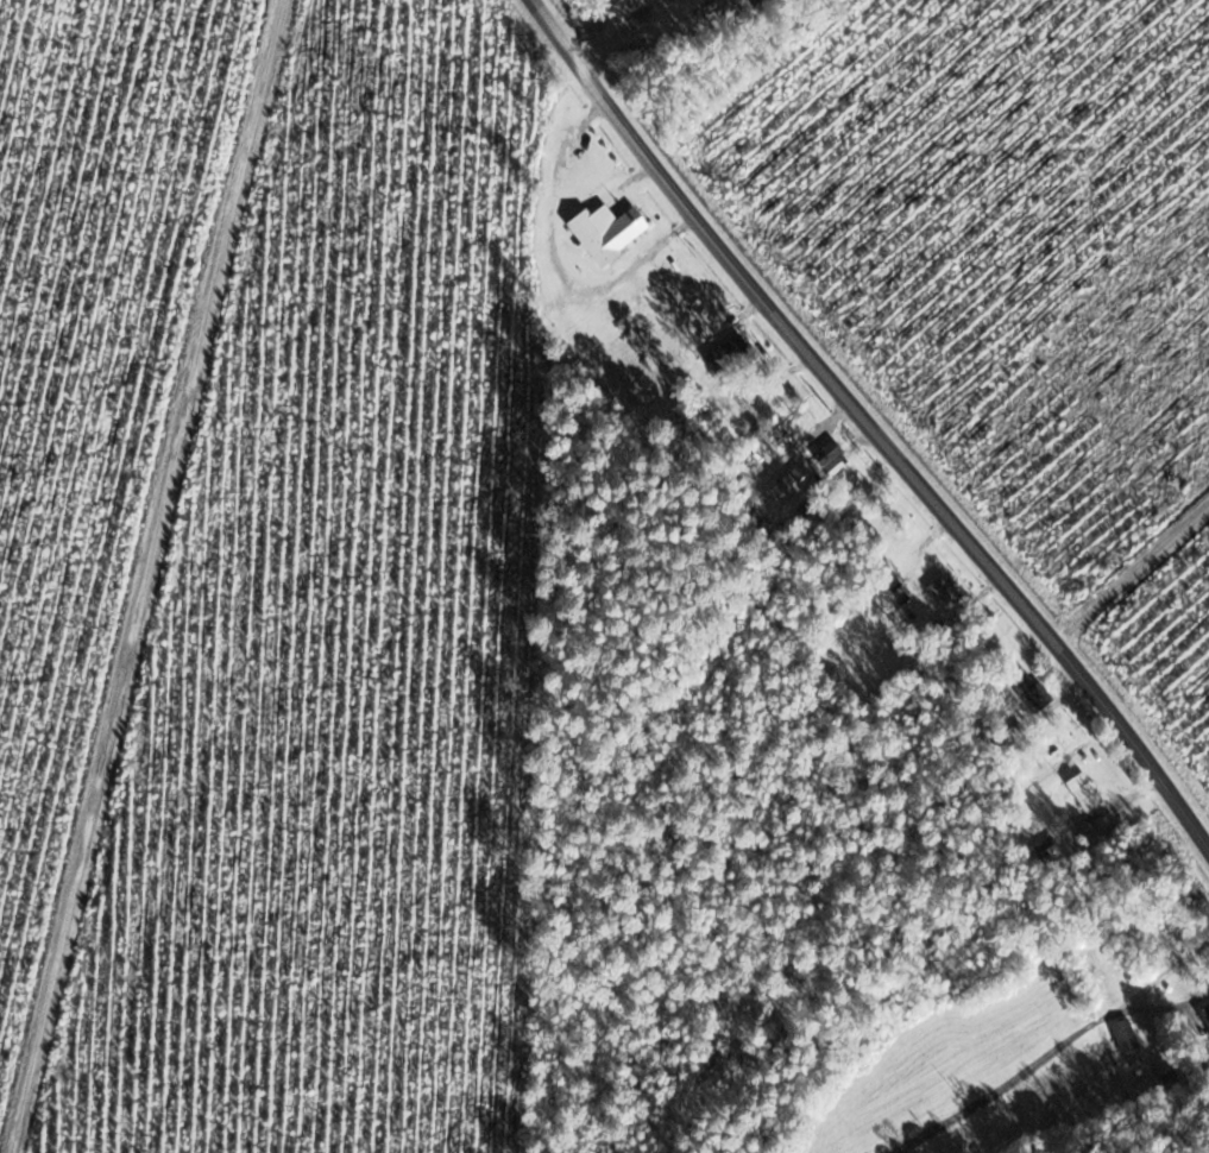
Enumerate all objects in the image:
building: (606, 232)
road: (556, 254)
building: (719, 354)
road: (875, 428)
building: (827, 453)
road: (158, 576)
building: (945, 593)
building: (1029, 689)
building: (1079, 793)
building: (1043, 849)
building: (1183, 894)
road: (1171, 968)
building: (1204, 1014)
building: (1125, 1035)
road: (1044, 1054)

